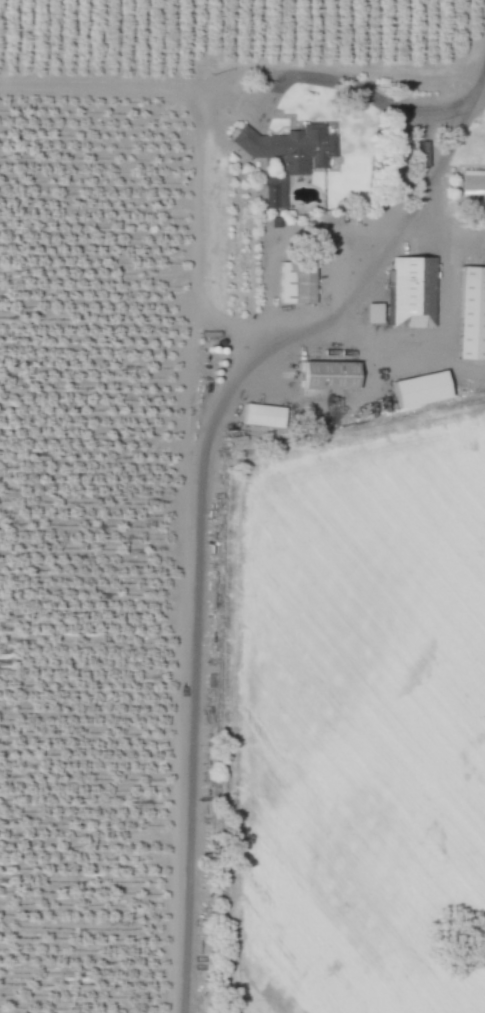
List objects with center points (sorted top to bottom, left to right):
road: (109, 91)
building: (289, 149)
building: (471, 185)
building: (273, 192)
building: (294, 283)
building: (408, 294)
building: (469, 315)
building: (323, 377)
road: (228, 386)
building: (415, 390)
building: (260, 417)

